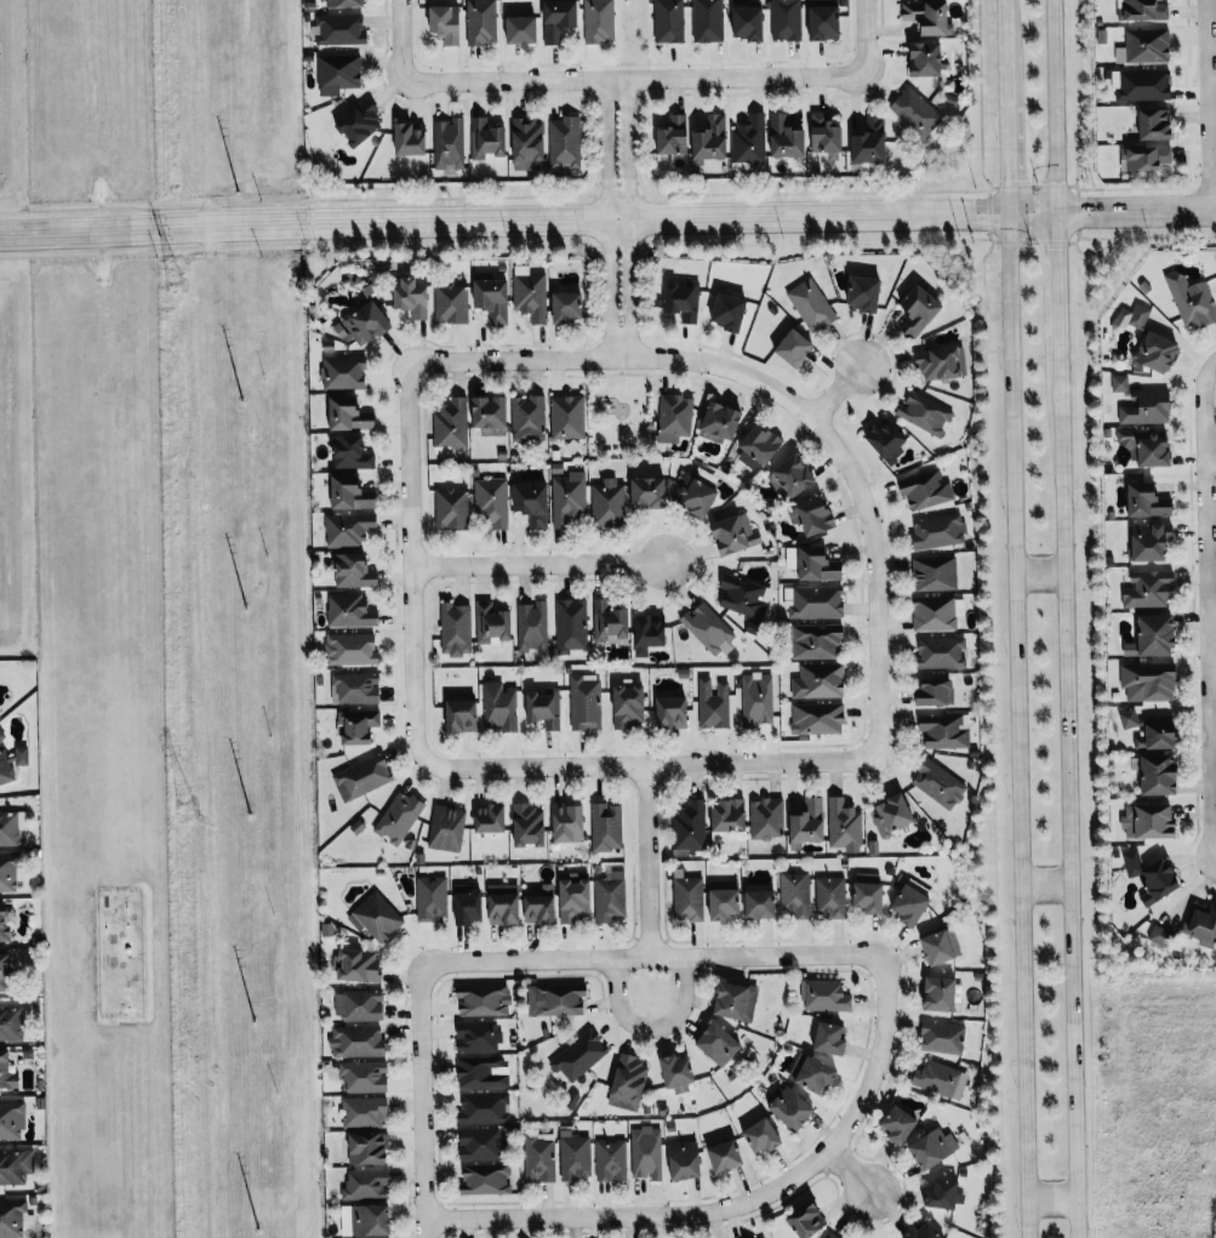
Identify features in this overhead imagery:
building: (344, 4)
building: (1144, 10)
building: (927, 16)
building: (558, 19)
building: (784, 19)
building: (824, 19)
building: (598, 21)
building: (668, 21)
building: (707, 21)
building: (480, 22)
building: (748, 23)
building: (446, 24)
building: (520, 29)
road: (864, 34)
road: (401, 39)
building: (1143, 46)
road: (1004, 53)
building: (926, 58)
building: (337, 74)
road: (635, 76)
building: (1142, 85)
road: (1206, 105)
road: (1051, 107)
building: (915, 114)
building: (360, 124)
building: (1155, 125)
building: (826, 135)
building: (674, 136)
building: (786, 137)
building: (712, 138)
building: (410, 139)
building: (486, 139)
building: (749, 142)
building: (870, 142)
building: (447, 144)
building: (527, 144)
building: (564, 144)
building: (1144, 158)
road: (1007, 160)
road: (628, 217)
road: (609, 218)
road: (607, 219)
road: (1055, 272)
power tower: (175, 280)
building: (866, 293)
building: (412, 296)
building: (530, 297)
building: (492, 299)
building: (681, 301)
building: (1191, 301)
building: (450, 303)
building: (810, 304)
building: (567, 308)
building: (730, 312)
building: (919, 312)
building: (1131, 318)
building: (362, 325)
building: (794, 348)
building: (1158, 352)
building: (938, 364)
building: (343, 373)
building: (1119, 383)
road: (837, 390)
road: (788, 395)
building: (1147, 407)
park: (620, 411)
building: (924, 413)
building: (349, 415)
building: (490, 416)
building: (566, 417)
building: (527, 418)
building: (674, 418)
building: (450, 424)
building: (886, 440)
building: (760, 444)
building: (1147, 446)
building: (350, 453)
building: (794, 477)
building: (924, 489)
building: (352, 494)
building: (649, 494)
building: (567, 498)
building: (491, 501)
building: (1147, 501)
building: (532, 503)
building: (607, 504)
building: (450, 508)
building: (815, 517)
building: (349, 529)
building: (937, 531)
building: (735, 535)
building: (1149, 543)
road: (411, 563)
road: (538, 564)
building: (818, 565)
building: (353, 571)
building: (934, 574)
road: (1039, 574)
building: (1149, 589)
building: (743, 597)
road: (1206, 601)
building: (348, 611)
building: (936, 614)
building: (610, 623)
building: (491, 624)
road: (1211, 624)
building: (531, 627)
building: (570, 628)
building: (707, 628)
building: (455, 629)
building: (649, 633)
building: (1157, 637)
building: (815, 640)
building: (349, 649)
building: (938, 652)
road: (1212, 672)
building: (818, 681)
building: (1148, 681)
building: (354, 688)
building: (932, 690)
building: (755, 700)
building: (583, 702)
building: (712, 704)
building: (498, 707)
building: (627, 707)
building: (543, 708)
building: (672, 713)
building: (462, 717)
building: (816, 718)
building: (358, 725)
road: (1017, 725)
building: (1152, 730)
building: (944, 731)
building: (11, 761)
road: (649, 764)
building: (1159, 775)
building: (361, 777)
building: (937, 783)
road: (1067, 785)
power tower: (184, 794)
building: (398, 816)
building: (729, 816)
building: (890, 816)
building: (489, 817)
building: (766, 818)
building: (567, 821)
building: (1148, 821)
building: (809, 822)
building: (529, 825)
building: (844, 825)
building: (445, 827)
building: (605, 827)
building: (8, 828)
building: (687, 829)
road: (650, 860)
building: (7, 872)
building: (1153, 875)
road: (1045, 882)
building: (868, 892)
building: (795, 894)
building: (609, 896)
building: (686, 896)
building: (829, 896)
building: (430, 897)
building: (573, 897)
building: (724, 898)
building: (468, 903)
building: (502, 903)
building: (760, 903)
building: (910, 905)
building: (538, 909)
building: (375, 917)
building: (4, 923)
building: (1201, 924)
building: (940, 946)
road: (650, 955)
building: (359, 965)
building: (5, 971)
building: (941, 993)
building: (823, 994)
building: (483, 999)
building: (555, 999)
building: (736, 1000)
building: (358, 1005)
building: (10, 1023)
road: (652, 1027)
building: (475, 1036)
building: (942, 1037)
building: (830, 1038)
building: (356, 1040)
building: (718, 1043)
building: (578, 1055)
building: (6, 1072)
building: (479, 1072)
building: (676, 1072)
building: (816, 1074)
building: (364, 1076)
building: (940, 1079)
building: (628, 1082)
road: (421, 1102)
building: (483, 1107)
building: (792, 1107)
building: (362, 1112)
building: (12, 1119)
building: (898, 1124)
building: (761, 1136)
building: (480, 1143)
building: (367, 1147)
building: (932, 1147)
building: (645, 1152)
building: (573, 1156)
building: (725, 1156)
building: (538, 1158)
building: (684, 1159)
building: (610, 1160)
building: (16, 1165)
road: (849, 1174)
building: (484, 1179)
building: (366, 1183)
building: (942, 1193)
road: (1052, 1199)
road: (741, 1203)
building: (11, 1219)
building: (371, 1220)
building: (806, 1220)
building: (924, 1232)
building: (829, 1236)
building: (760, 1237)

